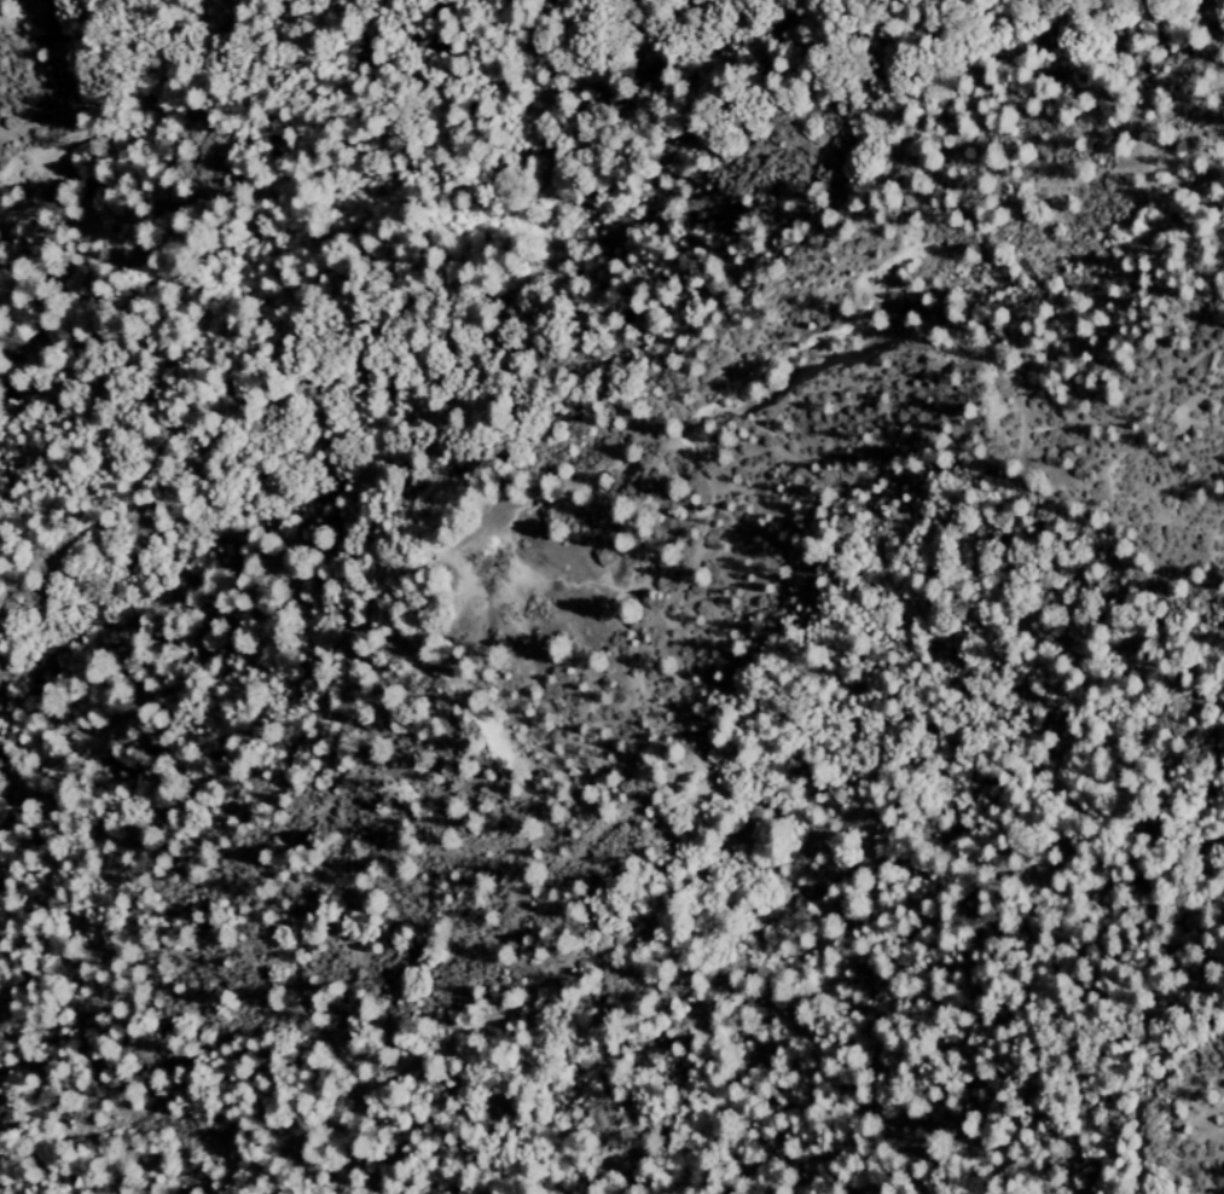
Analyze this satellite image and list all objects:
road: (907, 1048)
road: (278, 1150)

